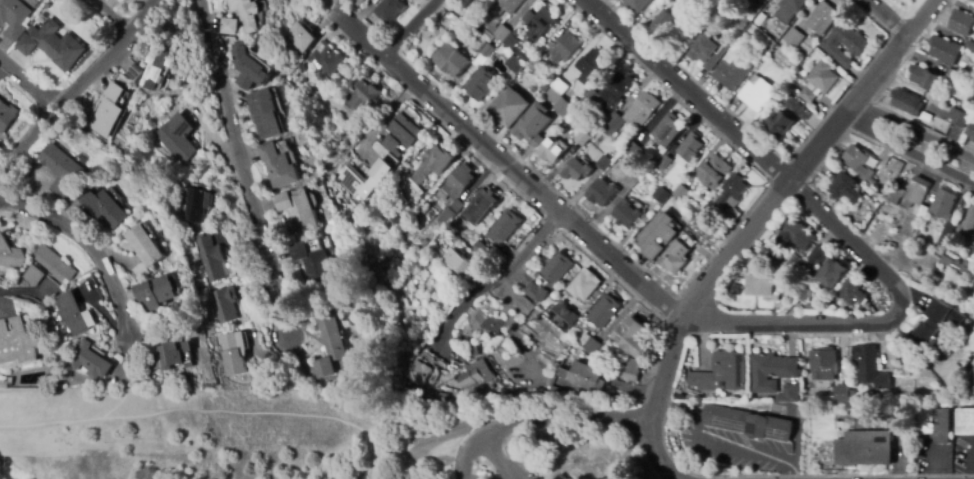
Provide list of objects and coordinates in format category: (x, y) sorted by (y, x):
building: (358, 2)
building: (462, 3)
building: (635, 5)
building: (505, 7)
building: (389, 10)
building: (471, 10)
building: (789, 10)
building: (245, 13)
road: (903, 13)
building: (14, 17)
road: (869, 17)
road: (110, 18)
building: (822, 18)
road: (887, 18)
building: (541, 23)
building: (665, 23)
building: (739, 23)
building: (962, 23)
road: (897, 24)
building: (228, 26)
road: (409, 29)
building: (496, 30)
building: (793, 38)
building: (302, 39)
building: (510, 42)
building: (844, 43)
building: (53, 45)
building: (970, 45)
building: (566, 47)
building: (499, 48)
building: (945, 50)
building: (486, 51)
building: (705, 51)
building: (520, 55)
building: (324, 61)
building: (451, 61)
building: (155, 63)
building: (590, 63)
building: (514, 64)
building: (535, 66)
building: (248, 69)
building: (133, 72)
building: (732, 74)
road: (34, 77)
building: (822, 77)
building: (925, 77)
building: (953, 77)
building: (480, 85)
building: (559, 86)
building: (619, 89)
road: (686, 90)
road: (78, 92)
building: (115, 92)
building: (758, 94)
building: (807, 95)
building: (552, 96)
building: (361, 97)
building: (592, 97)
building: (530, 98)
building: (907, 102)
building: (791, 103)
building: (508, 107)
building: (562, 107)
building: (642, 109)
building: (264, 114)
building: (7, 115)
building: (926, 117)
building: (958, 117)
building: (106, 118)
road: (381, 122)
building: (781, 122)
building: (612, 124)
building: (532, 125)
building: (668, 130)
road: (915, 131)
building: (971, 131)
building: (400, 135)
building: (176, 138)
building: (582, 138)
building: (689, 149)
road: (908, 149)
building: (552, 150)
building: (632, 150)
building: (614, 151)
building: (641, 152)
building: (636, 158)
building: (663, 162)
building: (859, 162)
building: (434, 163)
building: (603, 163)
building: (278, 166)
road: (506, 166)
building: (62, 170)
building: (577, 170)
building: (715, 172)
road: (246, 178)
building: (364, 180)
building: (631, 181)
building: (846, 188)
building: (455, 192)
building: (602, 192)
building: (732, 192)
building: (883, 192)
building: (680, 193)
building: (660, 195)
building: (896, 196)
building: (917, 196)
building: (483, 203)
building: (867, 204)
building: (194, 205)
building: (102, 207)
building: (424, 209)
building: (296, 210)
building: (465, 211)
building: (945, 213)
building: (627, 214)
building: (968, 225)
building: (505, 226)
road: (755, 226)
building: (799, 234)
building: (656, 235)
building: (516, 239)
building: (464, 240)
building: (424, 243)
building: (887, 243)
road: (94, 246)
road: (534, 248)
building: (479, 249)
building: (143, 250)
building: (909, 250)
building: (972, 252)
building: (10, 254)
building: (677, 254)
building: (814, 255)
building: (209, 259)
building: (311, 260)
building: (422, 260)
building: (458, 263)
building: (55, 265)
building: (955, 266)
building: (834, 274)
building: (33, 276)
building: (550, 276)
building: (971, 279)
building: (584, 285)
building: (762, 288)
road: (17, 290)
building: (852, 291)
building: (155, 292)
building: (808, 299)
road: (463, 301)
building: (223, 305)
building: (523, 306)
building: (829, 309)
building: (605, 311)
building: (74, 314)
building: (564, 316)
road: (881, 321)
building: (936, 323)
building: (631, 338)
building: (18, 343)
building: (587, 344)
building: (329, 345)
building: (475, 352)
building: (234, 353)
building: (604, 354)
building: (173, 356)
building: (568, 360)
building: (90, 362)
building: (824, 364)
building: (47, 365)
building: (870, 367)
building: (629, 370)
building: (771, 371)
building: (418, 373)
building: (476, 374)
building: (722, 374)
building: (584, 377)
building: (970, 380)
building: (5, 384)
building: (497, 389)
building: (414, 390)
building: (553, 391)
building: (788, 394)
building: (835, 394)
building: (444, 397)
building: (569, 397)
road: (153, 414)
road: (333, 414)
building: (964, 421)
road: (565, 422)
building: (748, 423)
building: (932, 423)
building: (863, 448)
road: (473, 458)
road: (495, 460)
building: (562, 477)

